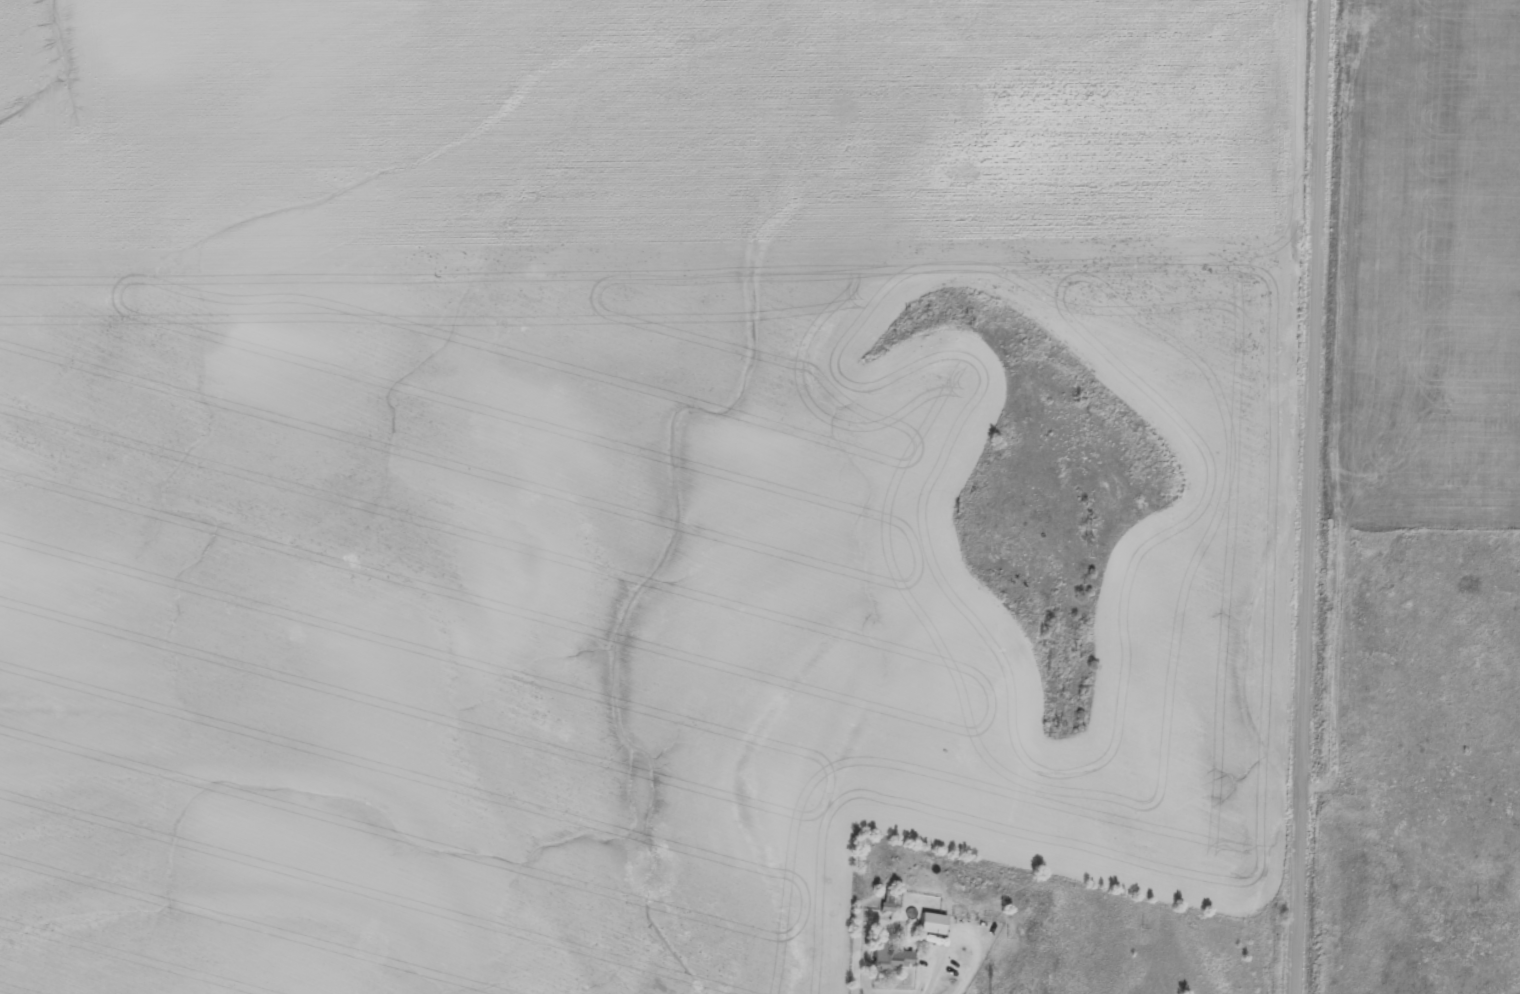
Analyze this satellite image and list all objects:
road: (1312, 497)
building: (931, 922)
building: (889, 956)
road: (931, 979)

